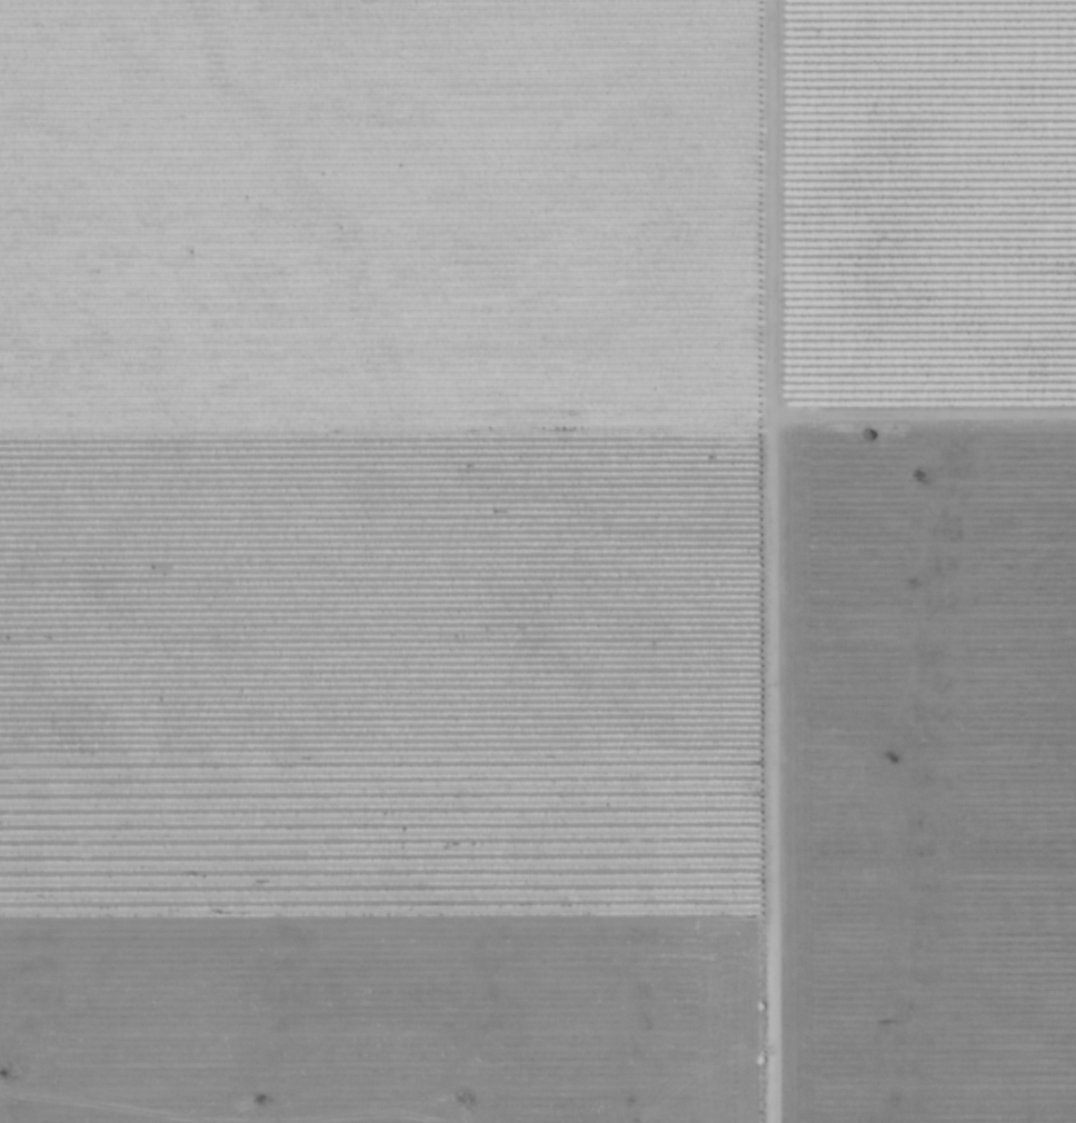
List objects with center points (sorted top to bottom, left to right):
road: (921, 420)
road: (768, 561)

